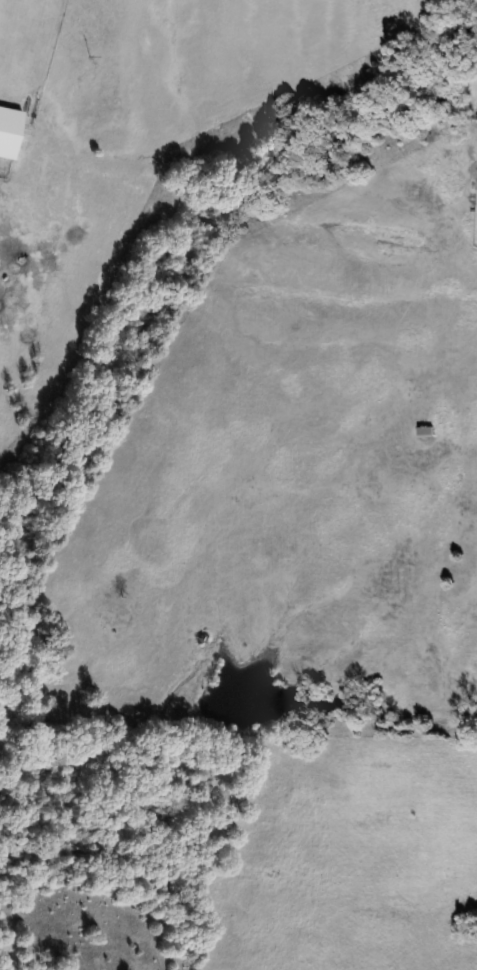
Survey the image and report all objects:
building: (425, 431)

